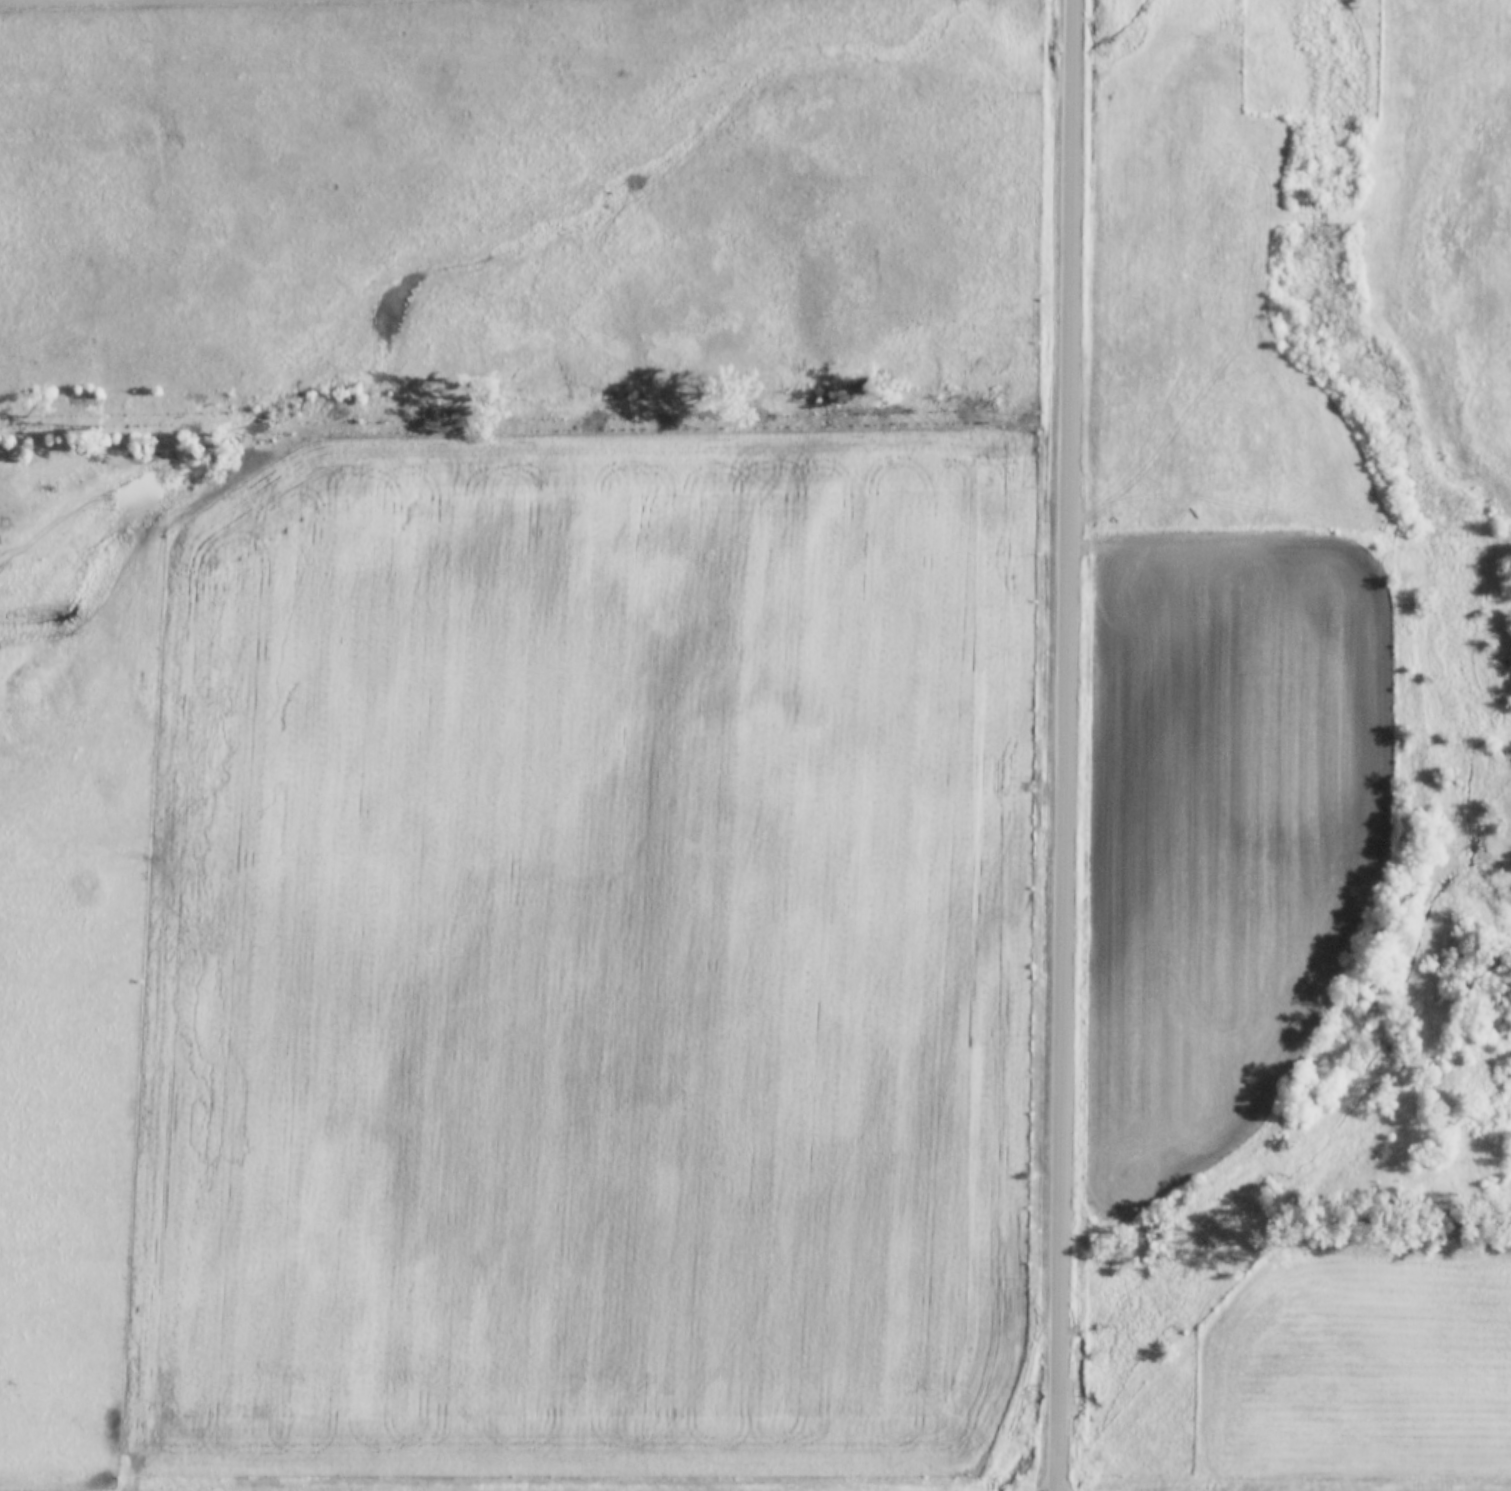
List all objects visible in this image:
road: (1070, 745)

